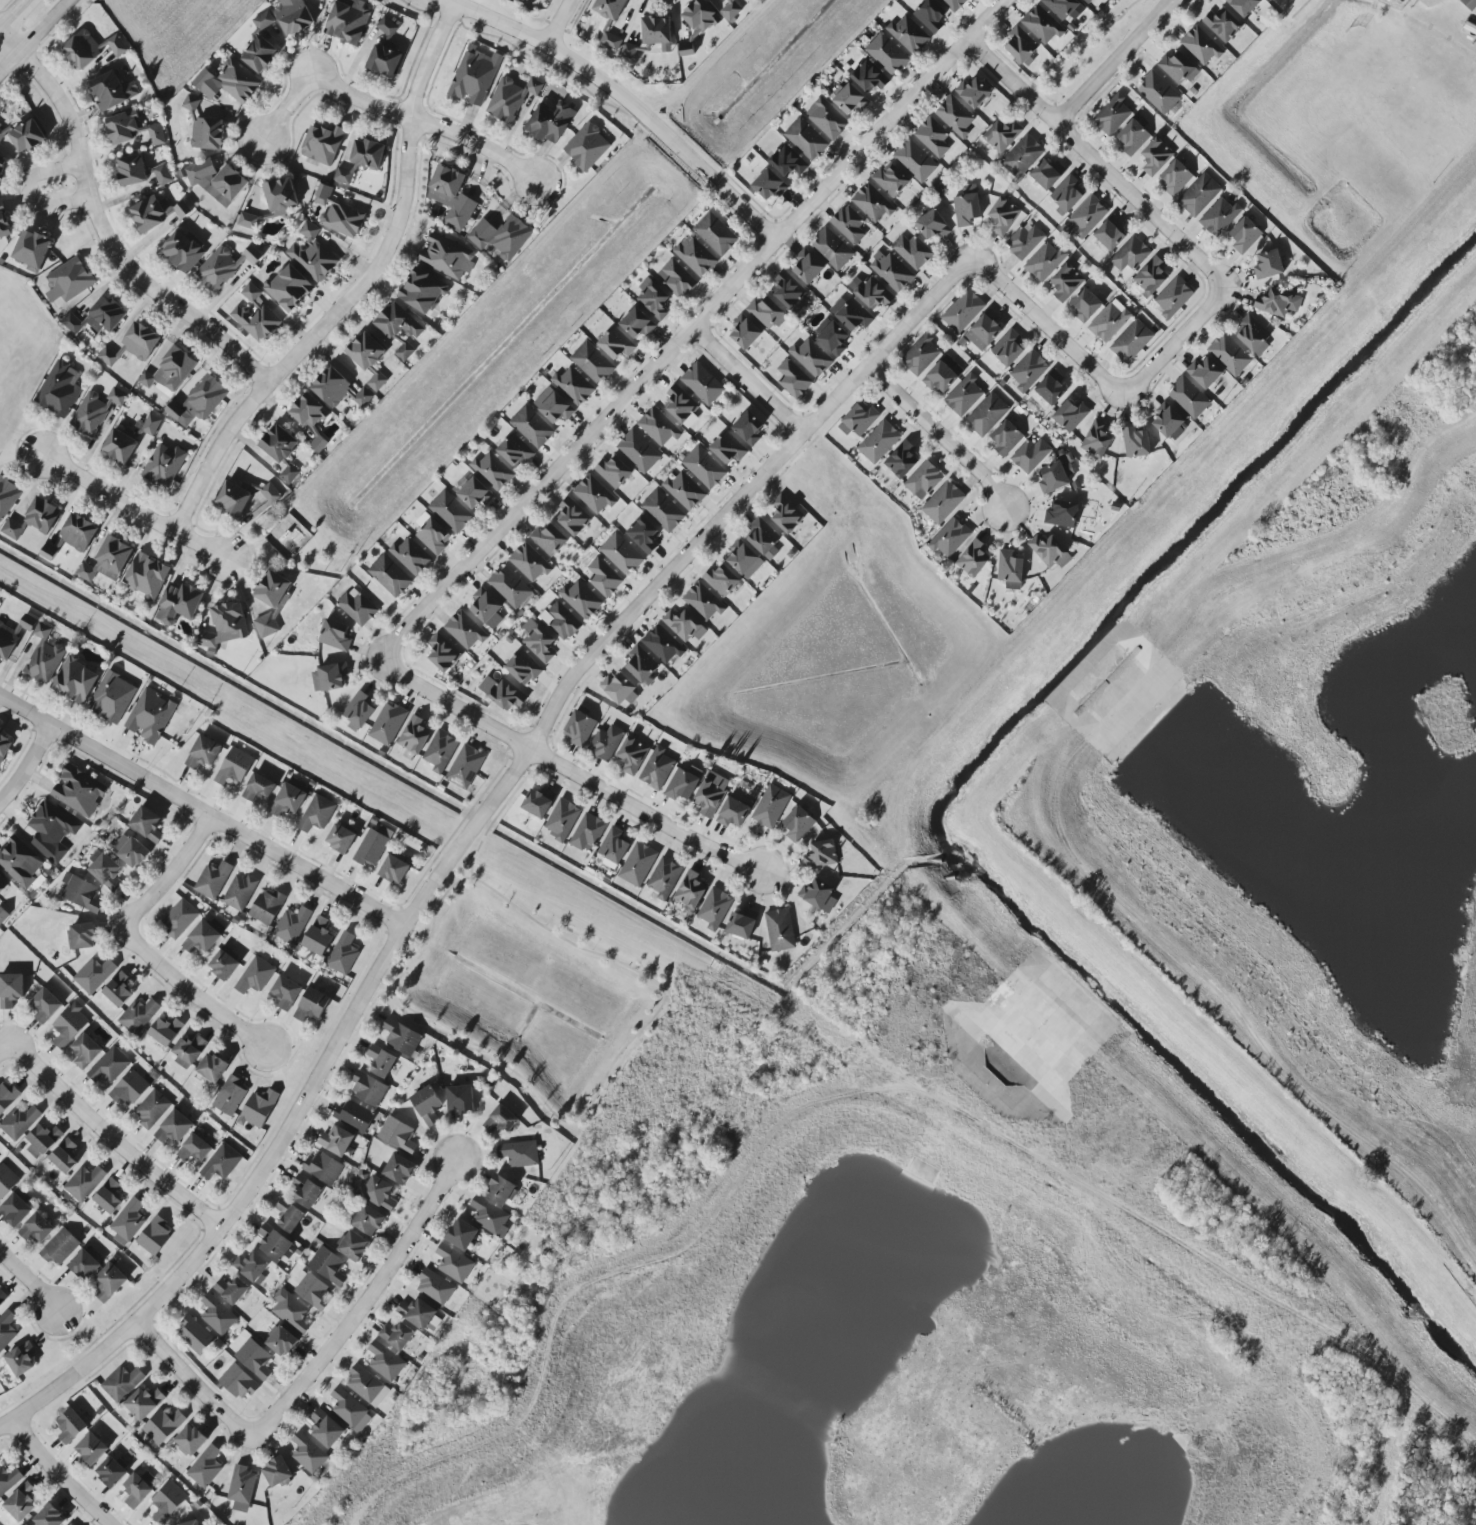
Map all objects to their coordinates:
building: (1270, 0)
building: (1087, 1)
building: (954, 4)
building: (1469, 4)
road: (1168, 6)
road: (1170, 6)
building: (1243, 6)
building: (1061, 7)
building: (609, 8)
building: (730, 9)
road: (16, 16)
building: (293, 16)
building: (930, 16)
building: (263, 21)
building: (348, 21)
road: (560, 23)
building: (698, 23)
road: (45, 25)
building: (1042, 25)
building: (1222, 25)
building: (387, 27)
road: (0, 32)
building: (657, 32)
building: (908, 35)
building: (611, 41)
building: (117, 45)
building: (1021, 46)
building: (1200, 46)
building: (82, 50)
building: (628, 51)
road: (1081, 52)
building: (260, 54)
building: (887, 54)
building: (384, 60)
road: (10, 61)
road: (1111, 68)
building: (1178, 68)
building: (474, 76)
building: (868, 76)
building: (228, 82)
building: (112, 91)
building: (973, 93)
building: (1158, 93)
building: (511, 98)
building: (849, 99)
road: (623, 100)
building: (191, 103)
road: (392, 114)
building: (1112, 115)
building: (955, 116)
building: (826, 118)
building: (551, 121)
building: (122, 127)
building: (2, 132)
building: (207, 134)
building: (156, 135)
building: (1002, 135)
building: (27, 136)
building: (933, 137)
building: (1133, 137)
building: (806, 139)
building: (322, 144)
building: (587, 147)
building: (1022, 156)
building: (1155, 157)
building: (362, 160)
building: (915, 161)
building: (787, 162)
building: (2, 168)
building: (132, 170)
building: (1046, 174)
building: (162, 175)
building: (1174, 178)
building: (891, 179)
building: (215, 181)
building: (769, 185)
building: (1067, 194)
building: (1199, 195)
road: (29, 196)
building: (280, 196)
building: (451, 197)
building: (871, 203)
building: (967, 206)
building: (338, 214)
building: (1003, 216)
building: (1086, 217)
building: (1220, 217)
building: (247, 220)
building: (4, 223)
building: (849, 224)
building: (933, 225)
road: (102, 230)
building: (715, 234)
building: (1110, 234)
building: (1245, 235)
building: (501, 237)
building: (1024, 240)
building: (832, 249)
building: (32, 250)
building: (183, 251)
building: (912, 251)
building: (252, 255)
building: (312, 255)
building: (1130, 255)
building: (447, 257)
building: (696, 257)
building: (1045, 262)
building: (1268, 265)
building: (807, 267)
building: (218, 269)
building: (891, 271)
building: (1150, 277)
building: (677, 278)
building: (69, 281)
road: (1215, 282)
building: (1066, 283)
building: (288, 288)
road: (360, 289)
building: (421, 290)
building: (789, 292)
building: (871, 293)
building: (1173, 297)
building: (653, 299)
building: (1277, 303)
building: (1086, 305)
building: (962, 312)
building: (766, 313)
building: (851, 314)
building: (255, 315)
building: (96, 318)
building: (1109, 321)
building: (397, 322)
building: (637, 323)
building: (984, 331)
building: (745, 332)
building: (1252, 335)
building: (831, 336)
building: (140, 341)
building: (1131, 342)
building: (616, 344)
building: (1008, 349)
building: (365, 351)
building: (404, 352)
building: (921, 355)
building: (1229, 355)
building: (108, 357)
building: (811, 357)
building: (592, 363)
building: (171, 371)
building: (1029, 371)
building: (1204, 373)
building: (793, 379)
building: (377, 381)
road: (747, 382)
building: (702, 384)
building: (573, 386)
building: (60, 389)
building: (1050, 389)
building: (338, 390)
road: (631, 390)
building: (964, 396)
building: (1188, 397)
building: (198, 402)
building: (679, 404)
building: (556, 408)
building: (95, 411)
building: (309, 412)
building: (987, 415)
building: (1070, 415)
building: (860, 419)
building: (1169, 422)
building: (151, 425)
building: (532, 427)
building: (658, 427)
building: (749, 428)
road: (939, 435)
building: (1006, 438)
building: (1096, 439)
building: (879, 442)
building: (1135, 442)
building: (279, 444)
building: (318, 444)
building: (120, 446)
building: (728, 448)
building: (638, 451)
building: (515, 452)
building: (1030, 455)
building: (901, 460)
building: (164, 465)
building: (704, 467)
building: (492, 471)
building: (613, 472)
building: (289, 475)
building: (1055, 475)
building: (923, 480)
building: (684, 490)
building: (270, 494)
building: (475, 494)
building: (593, 495)
building: (7, 496)
building: (233, 499)
building: (943, 502)
road: (137, 509)
building: (663, 511)
building: (451, 512)
building: (1061, 514)
building: (42, 515)
building: (786, 515)
building: (572, 517)
building: (12, 530)
building: (78, 533)
building: (643, 535)
building: (433, 536)
building: (949, 538)
building: (763, 539)
building: (549, 540)
building: (1050, 551)
building: (621, 554)
building: (411, 556)
building: (973, 559)
building: (744, 560)
building: (108, 561)
building: (529, 562)
building: (1010, 570)
building: (146, 576)
building: (389, 576)
building: (602, 577)
building: (721, 580)
building: (510, 587)
building: (581, 599)
building: (0, 601)
building: (271, 602)
building: (703, 602)
building: (179, 604)
building: (357, 607)
building: (486, 608)
building: (560, 621)
building: (684, 625)
building: (225, 626)
building: (465, 630)
building: (335, 635)
building: (13, 636)
building: (538, 641)
building: (662, 645)
building: (443, 653)
building: (641, 665)
building: (523, 668)
building: (329, 678)
building: (75, 680)
building: (618, 690)
building: (502, 693)
building: (112, 698)
building: (358, 712)
building: (150, 716)
building: (388, 724)
building: (579, 728)
building: (414, 736)
building: (606, 743)
building: (4, 747)
building: (440, 751)
building: (203, 752)
building: (632, 755)
road: (28, 767)
building: (234, 767)
building: (465, 767)
building: (657, 769)
building: (682, 785)
building: (258, 788)
building: (78, 792)
building: (711, 794)
building: (288, 801)
building: (537, 804)
building: (771, 807)
road: (202, 812)
road: (648, 813)
building: (733, 813)
building: (316, 814)
building: (562, 820)
building: (147, 824)
building: (798, 824)
building: (52, 831)
building: (588, 833)
road: (471, 836)
building: (340, 838)
building: (615, 846)
building: (371, 848)
building: (130, 850)
building: (820, 855)
building: (19, 862)
building: (638, 864)
building: (105, 869)
building: (394, 870)
building: (664, 878)
building: (213, 880)
building: (3, 884)
building: (240, 892)
building: (690, 892)
building: (81, 893)
building: (818, 895)
building: (267, 907)
building: (715, 909)
building: (3, 915)
building: (179, 918)
building: (742, 924)
building: (292, 925)
building: (780, 930)
building: (83, 936)
building: (318, 936)
building: (201, 938)
road: (140, 946)
building: (343, 954)
building: (225, 963)
building: (94, 975)
building: (255, 976)
road: (653, 983)
building: (10, 990)
building: (118, 990)
building: (285, 993)
road: (377, 998)
building: (44, 1005)
building: (311, 1005)
building: (138, 1016)
building: (69, 1025)
building: (165, 1031)
building: (401, 1037)
building: (85, 1051)
building: (188, 1051)
road: (5, 1055)
building: (381, 1062)
building: (109, 1066)
building: (211, 1068)
building: (129, 1089)
building: (368, 1089)
building: (7, 1096)
building: (229, 1096)
building: (460, 1099)
building: (427, 1105)
building: (151, 1109)
building: (258, 1109)
building: (354, 1116)
building: (500, 1120)
building: (19, 1122)
building: (174, 1128)
building: (398, 1135)
building: (42, 1140)
road: (114, 1140)
building: (336, 1141)
building: (195, 1148)
building: (518, 1153)
building: (65, 1156)
building: (222, 1162)
building: (323, 1168)
building: (399, 1169)
building: (6, 1181)
building: (84, 1183)
building: (500, 1190)
building: (305, 1191)
building: (379, 1193)
building: (109, 1197)
building: (15, 1210)
building: (288, 1216)
building: (489, 1217)
building: (368, 1220)
building: (128, 1222)
building: (37, 1229)
building: (461, 1234)
building: (155, 1236)
building: (273, 1243)
building: (352, 1246)
building: (60, 1247)
building: (453, 1263)
building: (84, 1265)
building: (328, 1266)
building: (252, 1268)
road: (29, 1281)
building: (109, 1282)
building: (435, 1287)
building: (231, 1290)
building: (311, 1290)
building: (2, 1297)
building: (291, 1311)
building: (417, 1313)
building: (217, 1315)
building: (6, 1329)
building: (195, 1335)
building: (396, 1335)
building: (280, 1340)
building: (254, 1359)
building: (21, 1360)
building: (385, 1362)
road: (314, 1366)
building: (238, 1382)
building: (122, 1383)
building: (366, 1386)
building: (144, 1403)
building: (350, 1410)
building: (71, 1426)
building: (163, 1426)
building: (326, 1429)
building: (190, 1440)
building: (91, 1449)
building: (308, 1453)
building: (205, 1467)
building: (111, 1472)
building: (276, 1472)
road: (59, 1475)
building: (9, 1480)
building: (241, 1489)
building: (136, 1491)
building: (21, 1502)
building: (168, 1502)
building: (49, 1517)
building: (192, 1523)
building: (71, 1524)

